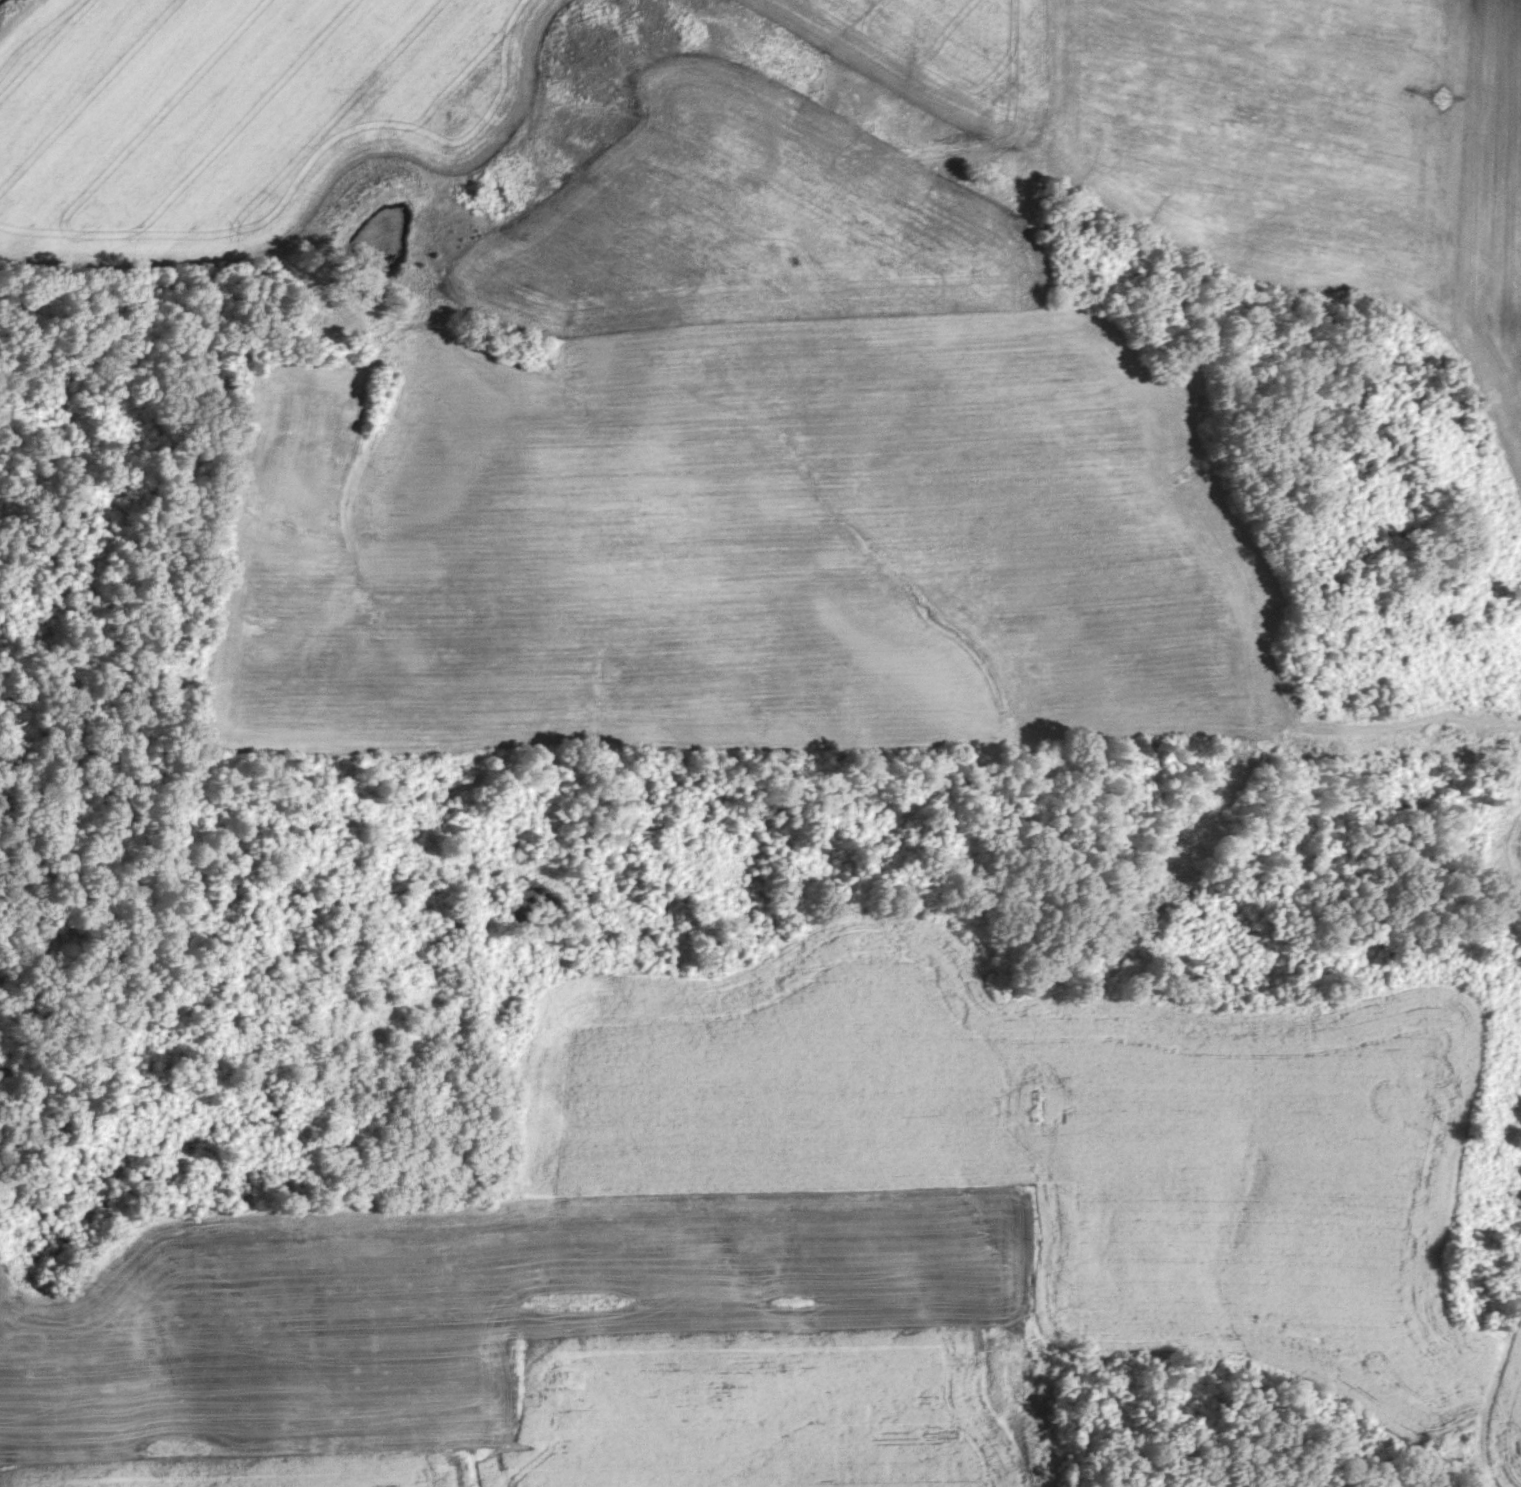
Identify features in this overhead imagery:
crop: (1313, 162)
crop: (739, 483)
crop: (1518, 852)
building: (432, 1050)
crop: (1068, 1141)
crop: (540, 1345)
crop: (1502, 1427)

